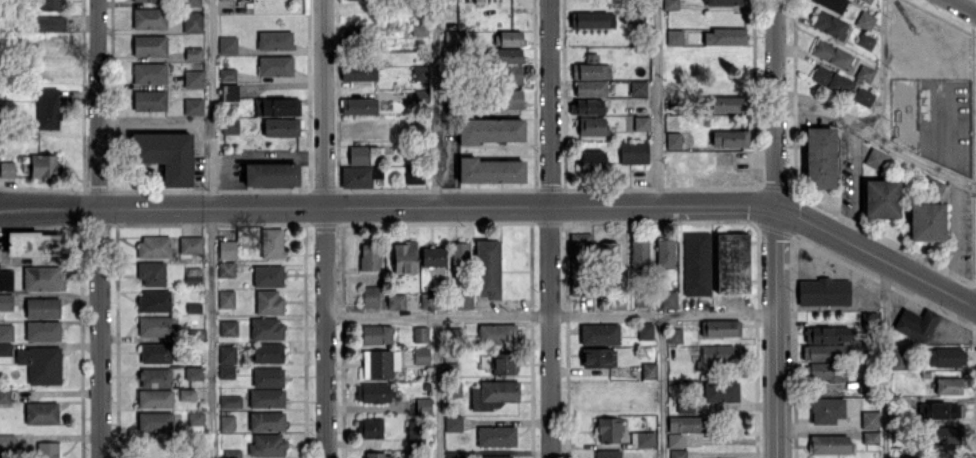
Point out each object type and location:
road: (963, 6)
road: (883, 68)
road: (437, 103)
road: (659, 103)
road: (776, 104)
road: (154, 123)
road: (876, 137)
road: (344, 207)
road: (732, 208)
road: (550, 228)
road: (99, 229)
road: (210, 229)
road: (323, 229)
road: (876, 257)
road: (550, 316)
road: (777, 333)
road: (887, 360)
road: (438, 387)
road: (662, 387)

